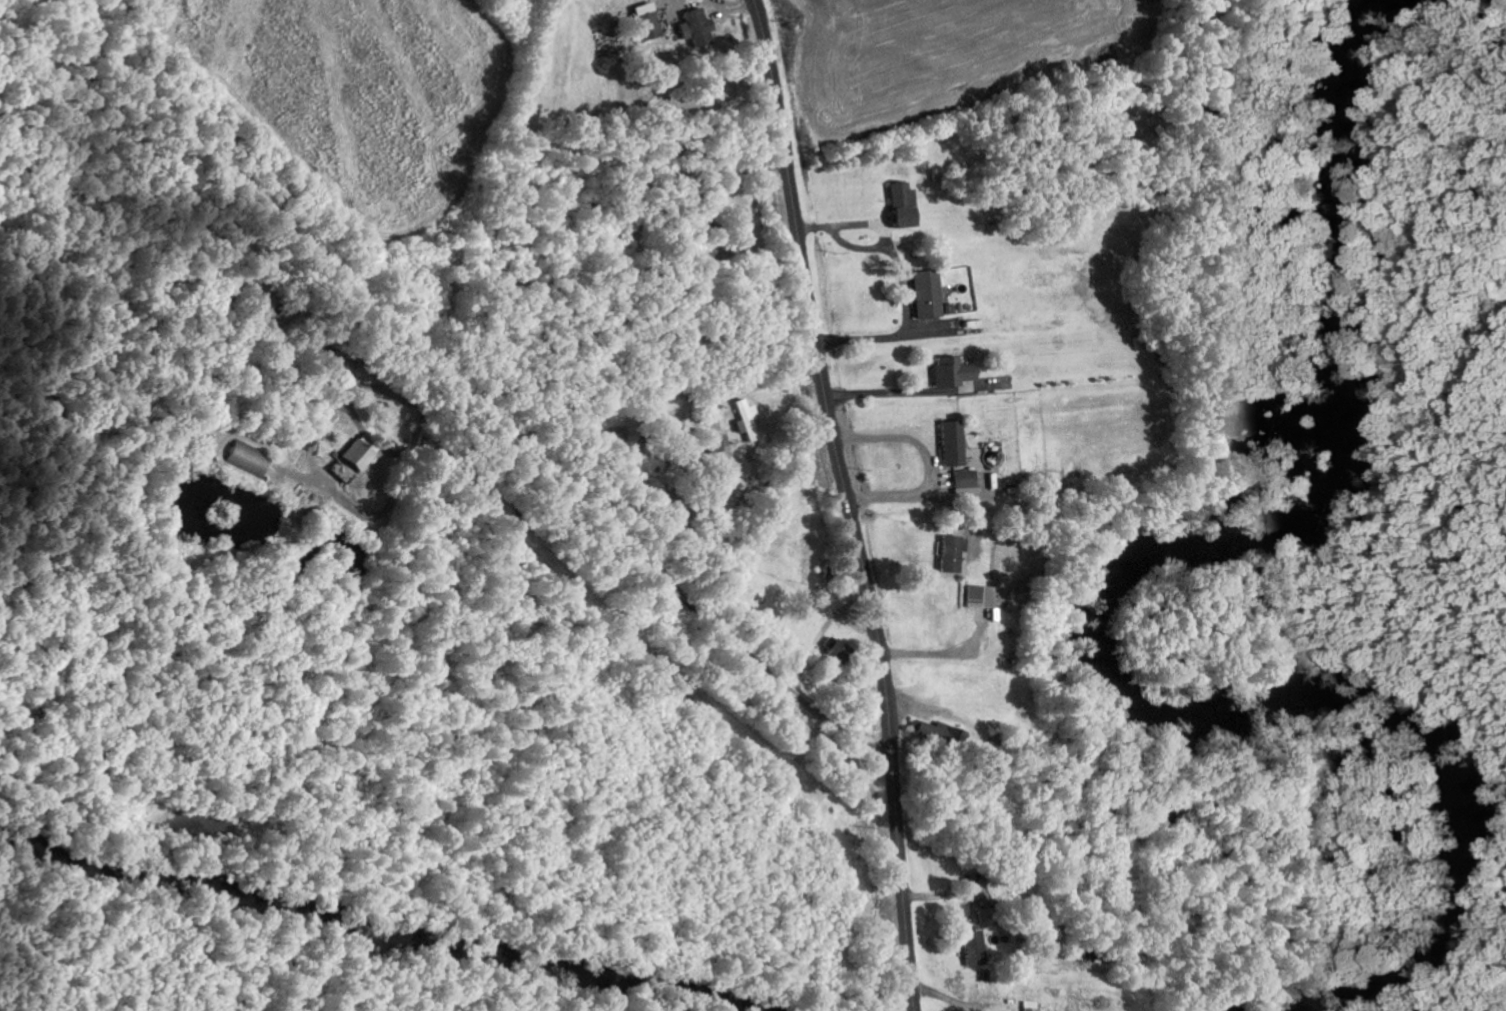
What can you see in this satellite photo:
building: (646, 20)
building: (695, 29)
building: (900, 205)
building: (925, 294)
building: (951, 372)
building: (745, 420)
building: (619, 435)
building: (718, 443)
building: (950, 444)
building: (357, 453)
building: (247, 459)
road: (849, 503)
building: (949, 554)
building: (977, 597)
river: (1087, 623)
road: (548, 625)
building: (834, 651)
building: (939, 733)
building: (973, 947)
building: (1027, 1006)

